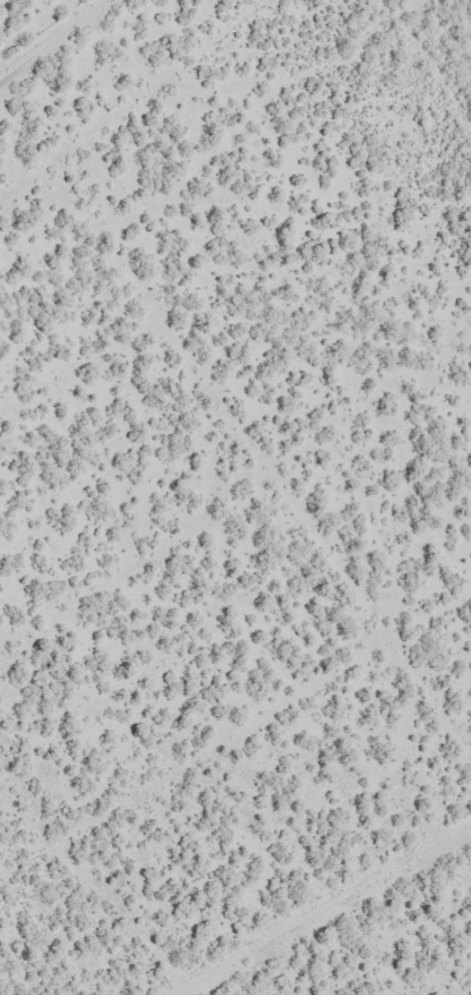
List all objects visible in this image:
road: (320, 908)

